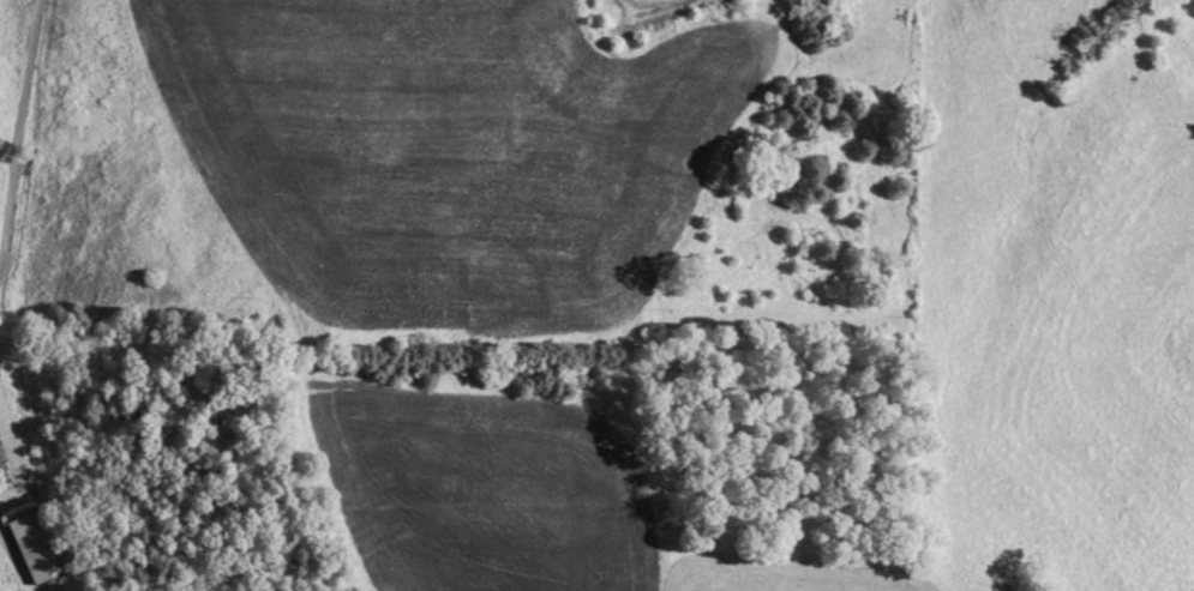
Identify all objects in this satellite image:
road: (18, 132)
building: (37, 549)

